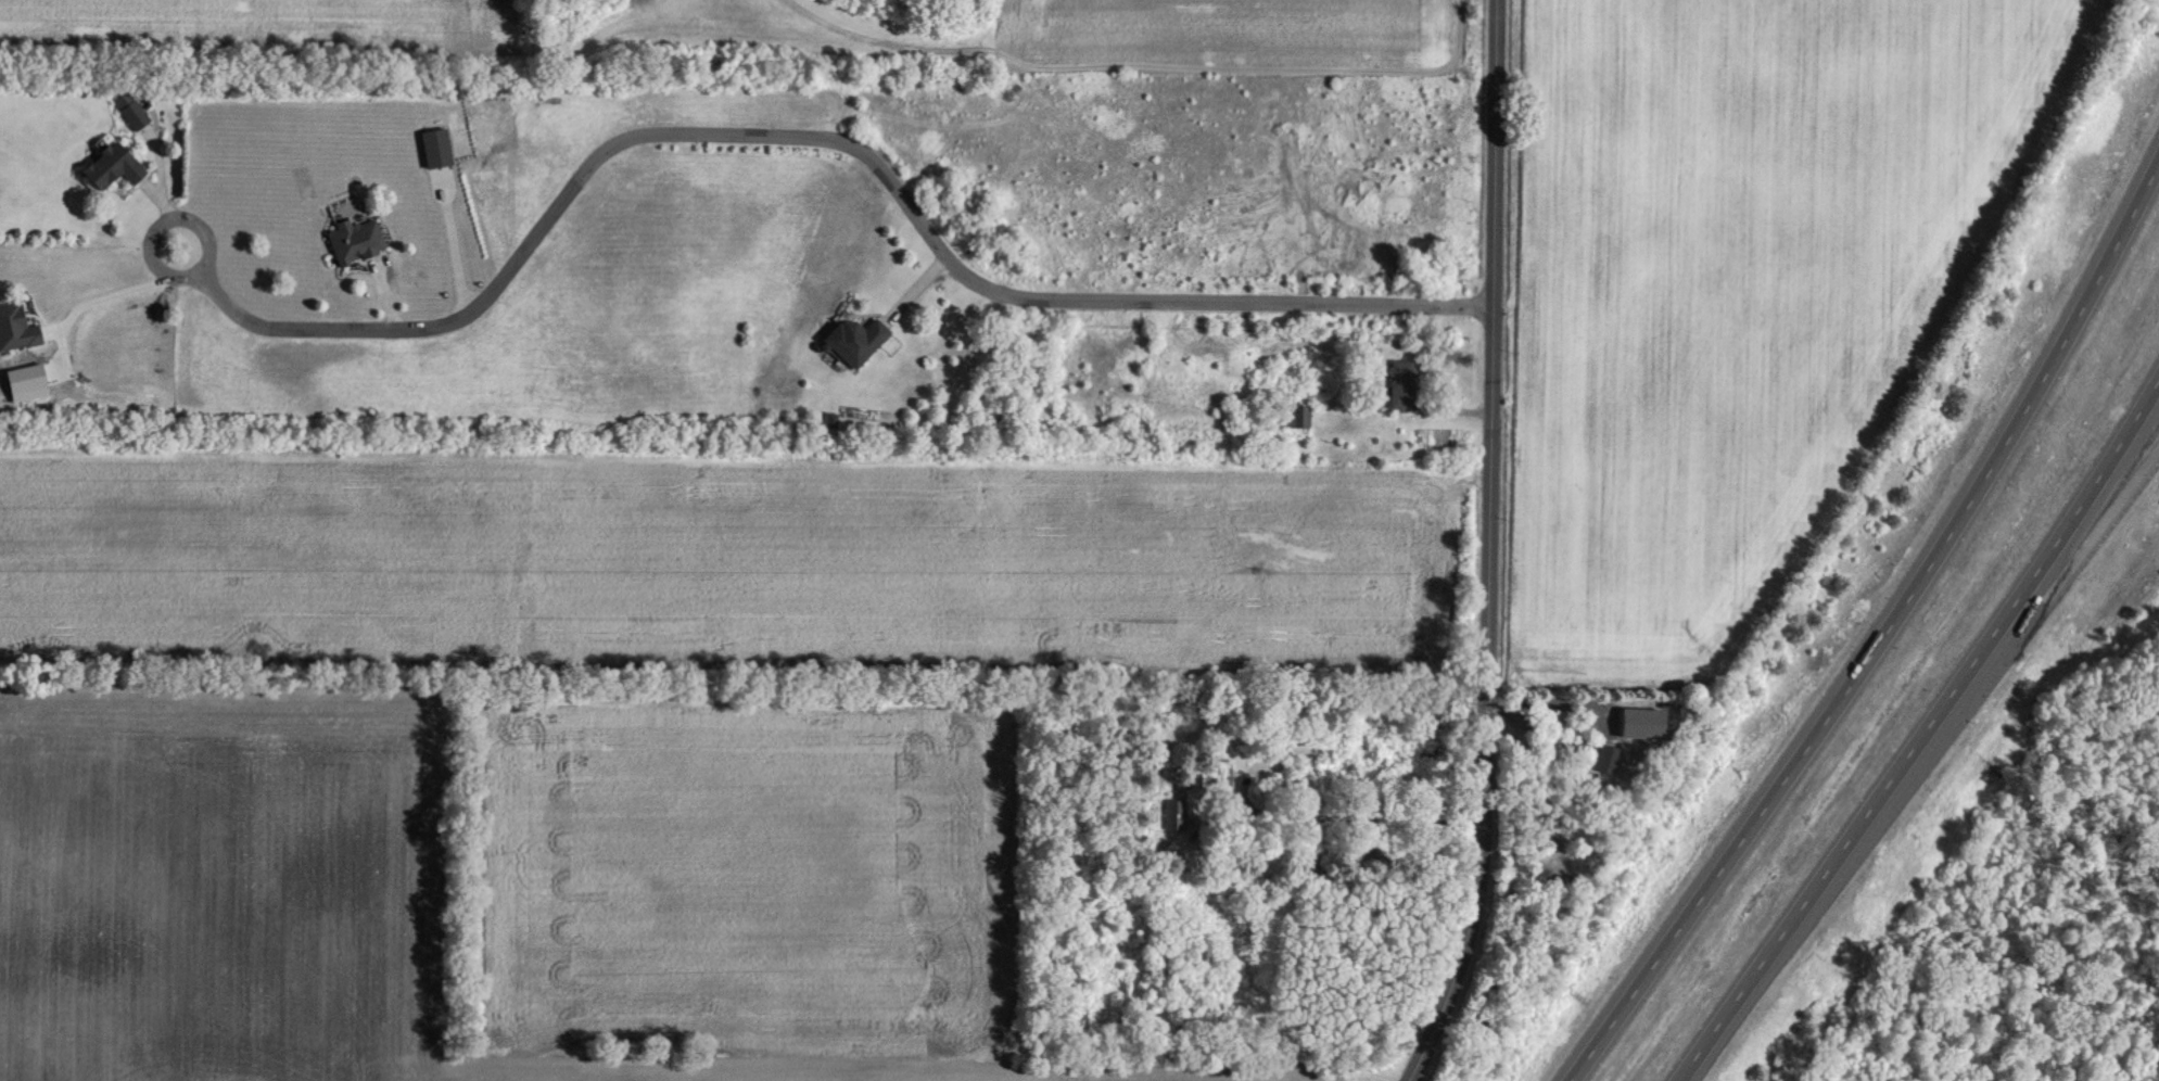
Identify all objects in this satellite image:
building: (129, 109)
road: (733, 133)
building: (111, 166)
building: (352, 240)
road: (113, 293)
building: (14, 327)
building: (855, 340)
building: (1401, 383)
building: (1294, 415)
road: (1488, 547)
road: (1884, 636)
road: (1983, 688)
road: (1539, 730)
road: (1925, 735)
building: (1605, 758)
building: (1195, 784)
road: (1347, 817)

